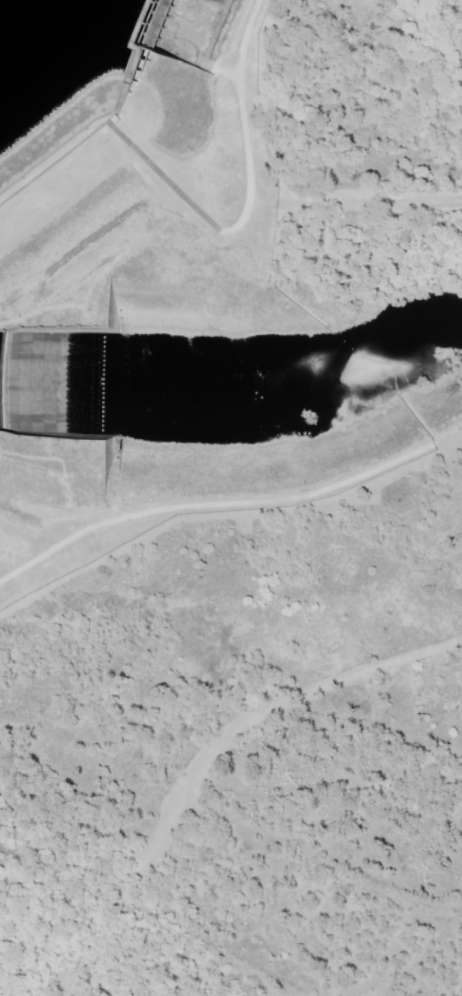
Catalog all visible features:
dam: (183, 74)
road: (238, 97)
road: (371, 201)
river: (235, 384)
road: (209, 757)

